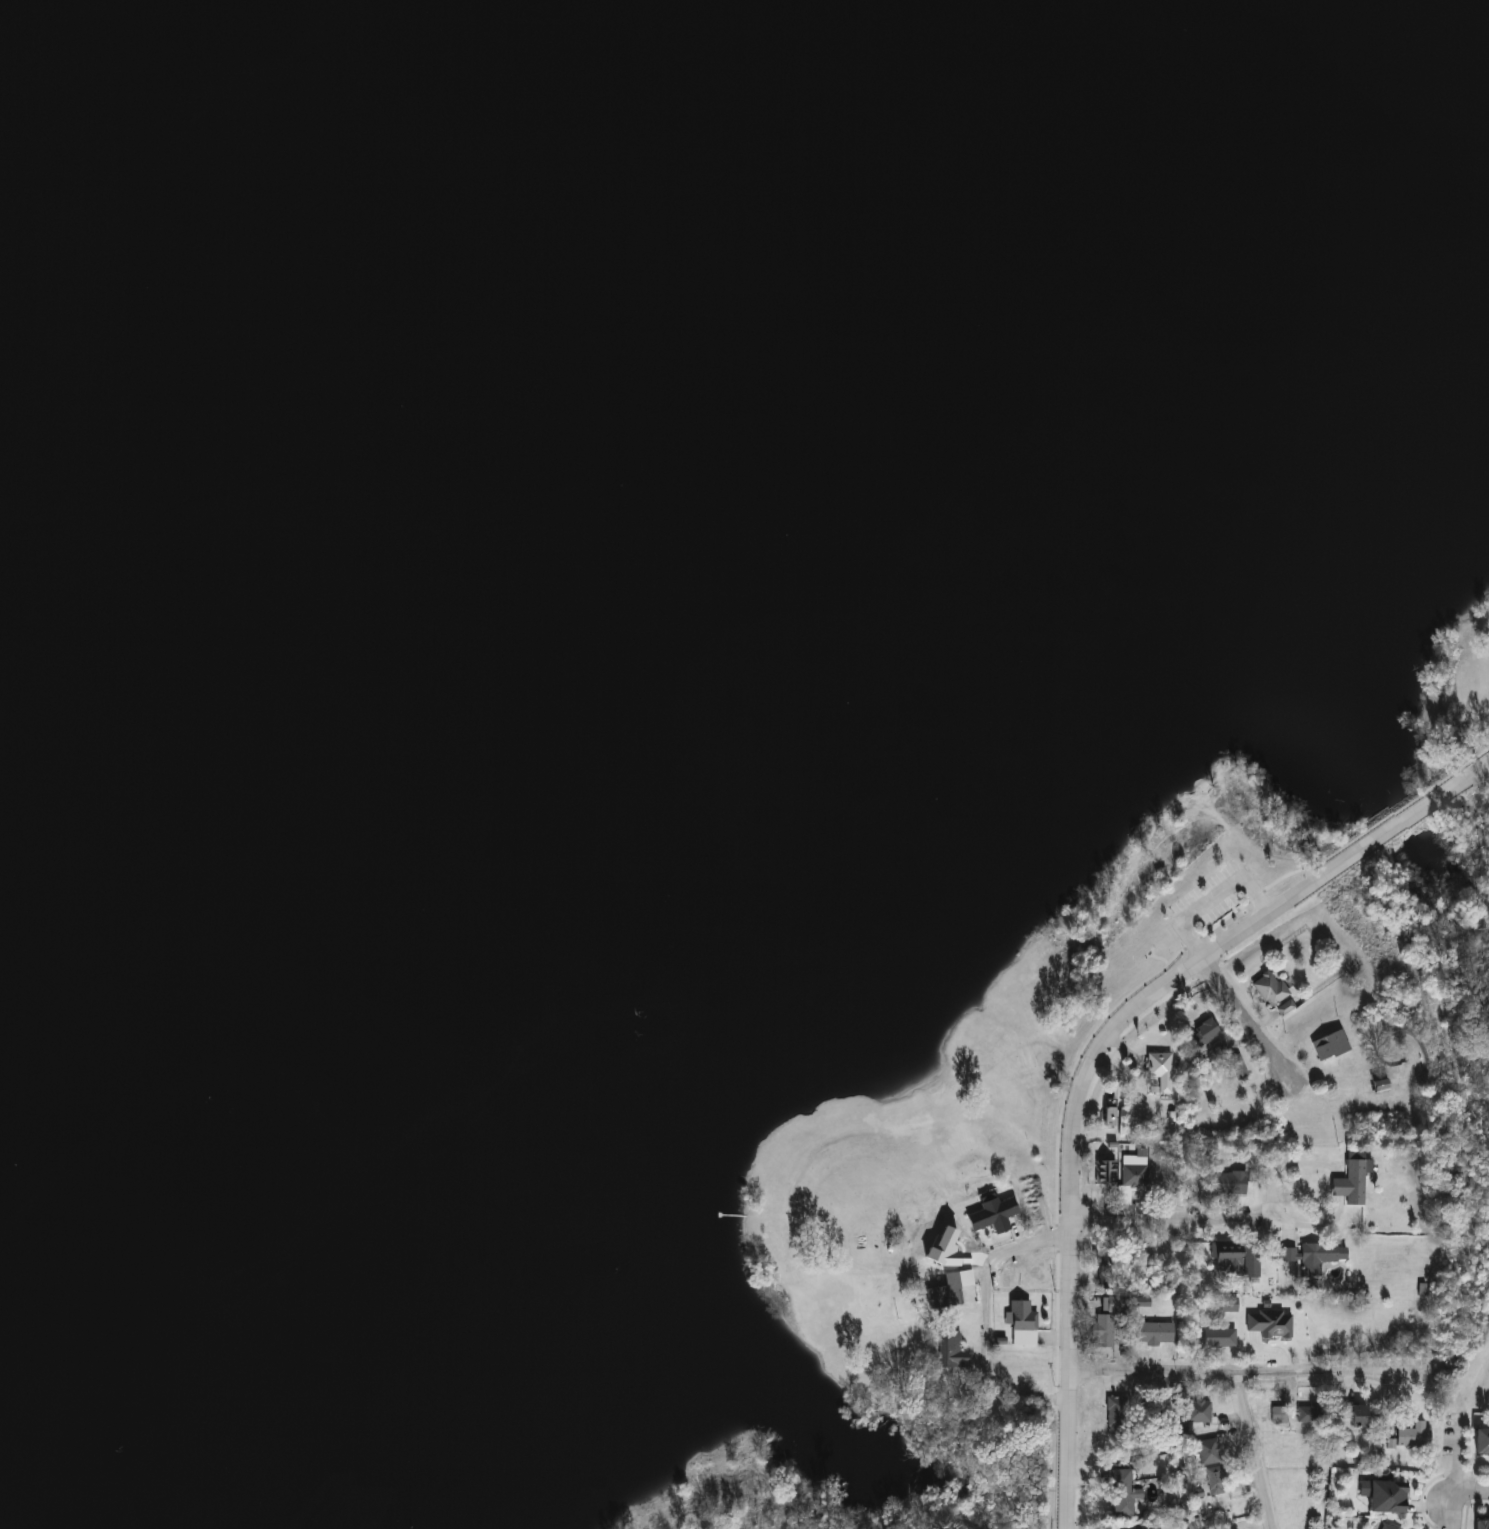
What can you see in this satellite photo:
road: (1214, 895)
building: (468, 963)
building: (1268, 989)
road: (1154, 990)
road: (1249, 1020)
building: (1203, 1031)
building: (1328, 1046)
building: (1235, 1067)
building: (1159, 1070)
building: (1377, 1082)
building: (1108, 1117)
road: (1285, 1161)
building: (1104, 1170)
building: (1132, 1175)
building: (1350, 1179)
building: (1228, 1184)
building: (146, 1187)
road: (1112, 1213)
building: (987, 1217)
building: (1312, 1257)
building: (1223, 1259)
building: (1251, 1260)
building: (947, 1291)
building: (1109, 1305)
building: (1021, 1325)
building: (1102, 1332)
building: (1154, 1334)
building: (1213, 1338)
building: (950, 1350)
road: (1097, 1368)
road: (1270, 1370)
road: (991, 1383)
building: (1122, 1400)
building: (1196, 1411)
building: (1164, 1413)
building: (1311, 1413)
building: (1276, 1415)
building: (1352, 1415)
building: (1411, 1436)
building: (1480, 1443)
road: (1064, 1448)
road: (1247, 1449)
building: (1207, 1452)
road: (1462, 1476)
building: (1213, 1482)
park: (718, 1490)
building: (1121, 1492)
road: (1475, 1492)
building: (1384, 1498)
building: (1481, 1524)
building: (1384, 1527)

